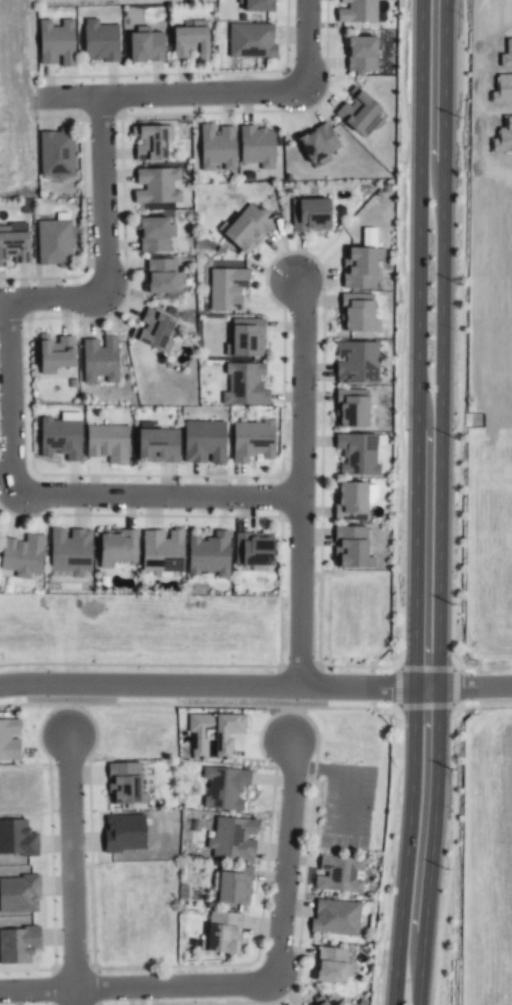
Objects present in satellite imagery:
building: (256, 5)
building: (357, 12)
building: (250, 40)
building: (99, 41)
building: (187, 42)
building: (55, 43)
road: (306, 44)
building: (144, 47)
building: (360, 54)
road: (171, 94)
building: (357, 113)
building: (150, 142)
building: (317, 145)
building: (255, 146)
building: (216, 147)
building: (55, 153)
building: (156, 186)
building: (309, 215)
building: (11, 228)
building: (245, 229)
building: (153, 234)
building: (53, 243)
building: (14, 247)
road: (104, 249)
building: (358, 269)
building: (161, 276)
building: (226, 288)
building: (356, 317)
building: (150, 329)
building: (245, 340)
building: (53, 353)
building: (99, 359)
building: (356, 363)
building: (244, 385)
building: (350, 409)
building: (59, 438)
building: (251, 441)
building: (202, 442)
building: (105, 443)
building: (156, 446)
building: (356, 454)
road: (302, 483)
road: (61, 496)
building: (352, 498)
road: (416, 502)
road: (440, 502)
building: (114, 548)
building: (350, 548)
building: (252, 550)
building: (69, 551)
building: (160, 551)
building: (208, 555)
building: (21, 556)
road: (213, 686)
road: (469, 688)
road: (67, 709)
road: (292, 715)
building: (212, 734)
building: (9, 739)
building: (124, 783)
building: (223, 788)
building: (232, 839)
road: (72, 868)
building: (337, 874)
building: (232, 885)
building: (334, 917)
building: (221, 933)
road: (279, 962)
building: (331, 965)
road: (37, 990)
building: (318, 1000)

